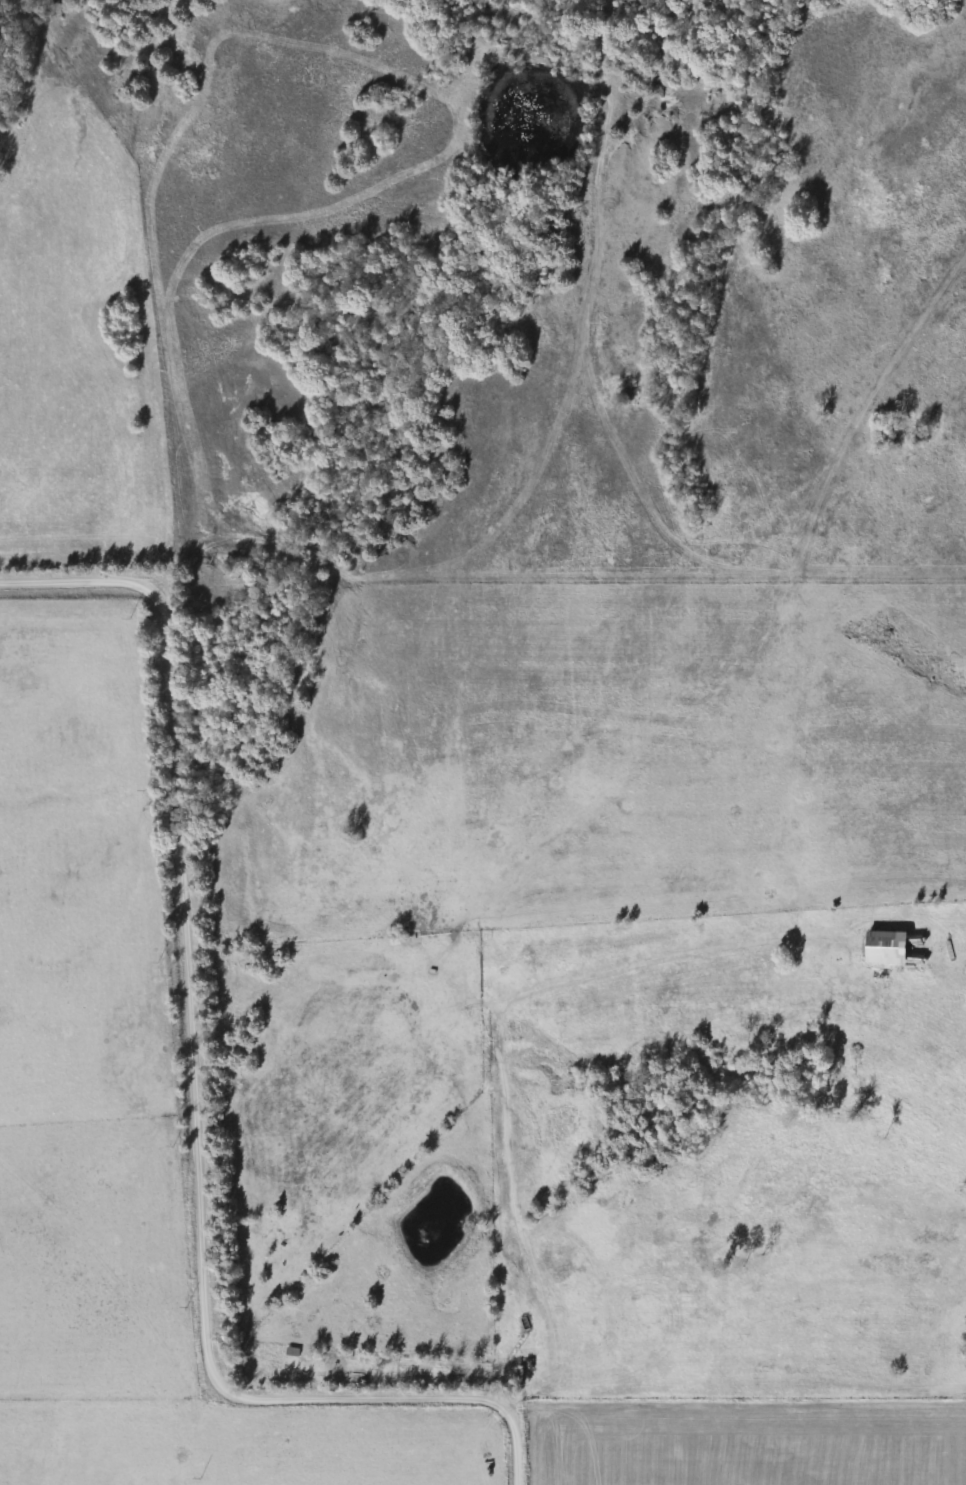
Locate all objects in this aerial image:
building: (895, 948)
road: (197, 1096)

